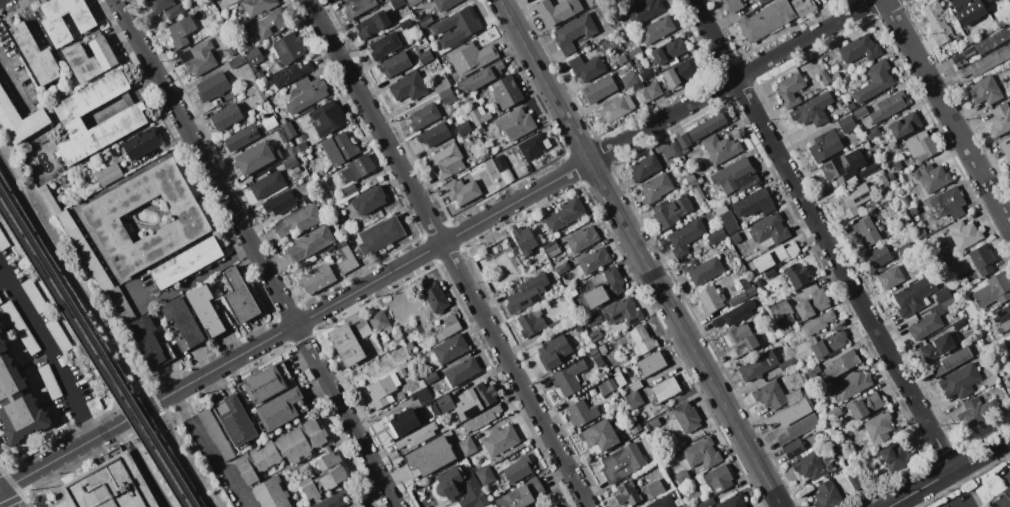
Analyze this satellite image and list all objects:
road: (0, 0)
building: (757, 0)
building: (986, 0)
building: (412, 2)
building: (763, 2)
building: (397, 3)
building: (159, 4)
building: (443, 4)
building: (735, 4)
building: (258, 5)
building: (804, 6)
building: (358, 7)
building: (968, 9)
building: (644, 10)
building: (174, 11)
building: (558, 11)
building: (766, 20)
building: (425, 21)
building: (935, 22)
building: (270, 23)
building: (372, 24)
building: (405, 24)
building: (56, 28)
building: (469, 29)
building: (657, 29)
building: (181, 31)
building: (574, 33)
building: (971, 37)
building: (992, 40)
building: (385, 45)
building: (421, 47)
building: (288, 48)
building: (860, 49)
building: (231, 50)
building: (669, 50)
building: (635, 52)
building: (438, 53)
building: (35, 55)
building: (254, 56)
building: (425, 56)
building: (471, 57)
building: (89, 59)
building: (198, 59)
building: (622, 59)
building: (611, 60)
building: (237, 61)
building: (987, 62)
building: (394, 64)
building: (587, 68)
building: (688, 68)
building: (253, 69)
building: (271, 70)
building: (291, 73)
building: (648, 74)
building: (260, 75)
building: (836, 75)
building: (482, 76)
building: (825, 77)
building: (670, 78)
building: (629, 79)
road: (12, 81)
building: (875, 81)
building: (440, 82)
building: (213, 86)
building: (408, 86)
building: (600, 89)
building: (790, 89)
building: (654, 90)
building: (984, 90)
building: (257, 92)
building: (506, 92)
building: (308, 93)
building: (447, 96)
building: (839, 100)
building: (850, 105)
building: (889, 106)
building: (615, 109)
building: (861, 111)
road: (947, 111)
building: (809, 113)
building: (479, 115)
building: (423, 116)
building: (227, 117)
building: (329, 117)
building: (20, 119)
building: (126, 119)
building: (1000, 119)
building: (270, 123)
building: (514, 124)
building: (847, 124)
building: (905, 125)
building: (706, 126)
building: (463, 127)
building: (481, 129)
building: (286, 130)
building: (872, 133)
building: (434, 134)
building: (241, 137)
building: (684, 140)
building: (141, 143)
building: (301, 145)
building: (921, 145)
building: (534, 146)
building: (825, 146)
building: (1006, 147)
building: (720, 148)
building: (876, 148)
building: (339, 149)
building: (671, 151)
building: (494, 155)
building: (485, 156)
building: (275, 157)
building: (255, 160)
building: (290, 162)
building: (446, 162)
building: (500, 162)
building: (360, 166)
building: (645, 167)
building: (844, 168)
building: (870, 169)
building: (296, 170)
building: (109, 174)
building: (319, 174)
building: (507, 176)
building: (735, 176)
building: (932, 177)
building: (690, 179)
building: (700, 180)
building: (885, 180)
building: (85, 185)
building: (268, 185)
building: (656, 187)
building: (349, 189)
building: (462, 191)
building: (697, 192)
building: (901, 192)
road: (100, 193)
building: (49, 198)
building: (309, 198)
building: (368, 199)
building: (906, 199)
building: (854, 200)
building: (280, 202)
building: (754, 203)
building: (948, 203)
building: (871, 205)
building: (670, 211)
building: (914, 213)
building: (565, 214)
building: (103, 218)
building: (728, 221)
building: (298, 222)
building: (905, 224)
building: (880, 227)
building: (770, 229)
building: (922, 230)
building: (866, 231)
building: (380, 234)
building: (964, 234)
building: (716, 235)
road: (823, 235)
building: (685, 236)
building: (582, 238)
building: (734, 238)
building: (525, 239)
building: (312, 242)
building: (4, 243)
road: (438, 246)
building: (551, 248)
building: (905, 249)
building: (84, 250)
road: (256, 253)
road: (448, 253)
road: (640, 253)
building: (775, 256)
building: (879, 256)
building: (476, 257)
building: (349, 259)
building: (981, 259)
building: (595, 260)
building: (187, 262)
building: (558, 270)
building: (703, 270)
building: (769, 273)
building: (797, 275)
building: (891, 278)
building: (758, 279)
road: (4, 280)
building: (318, 280)
road: (185, 284)
building: (759, 286)
building: (605, 288)
park: (66, 290)
building: (993, 290)
building: (573, 292)
building: (527, 293)
building: (943, 294)
building: (33, 295)
building: (914, 295)
building: (240, 296)
building: (434, 296)
building: (743, 296)
building: (710, 299)
building: (0, 301)
building: (813, 304)
building: (121, 305)
building: (781, 310)
building: (207, 311)
building: (621, 312)
building: (734, 314)
building: (1004, 316)
building: (592, 319)
building: (379, 320)
building: (183, 321)
building: (929, 321)
building: (531, 322)
building: (817, 322)
building: (960, 323)
building: (838, 324)
building: (20, 327)
building: (449, 327)
building: (579, 328)
building: (362, 329)
building: (785, 329)
road: (108, 330)
building: (58, 335)
building: (383, 335)
building: (643, 339)
building: (740, 340)
building: (1009, 340)
building: (150, 342)
building: (396, 342)
building: (180, 343)
building: (829, 344)
building: (346, 345)
building: (409, 346)
building: (937, 346)
building: (450, 348)
road: (51, 349)
building: (603, 349)
railway: (96, 350)
building: (554, 351)
building: (594, 353)
railway: (91, 358)
building: (953, 360)
building: (651, 363)
building: (842, 363)
building: (789, 364)
building: (757, 366)
building: (284, 370)
building: (813, 370)
building: (463, 371)
building: (431, 377)
building: (568, 377)
building: (619, 379)
building: (992, 380)
building: (50, 381)
building: (959, 381)
building: (264, 384)
building: (852, 384)
building: (609, 385)
building: (635, 386)
building: (666, 389)
building: (382, 391)
building: (424, 395)
building: (774, 395)
building: (475, 399)
building: (634, 399)
building: (444, 400)
building: (18, 401)
building: (865, 406)
building: (279, 409)
building: (434, 409)
building: (834, 412)
building: (582, 413)
building: (977, 413)
building: (790, 414)
building: (687, 417)
building: (481, 420)
building: (237, 421)
building: (404, 422)
building: (654, 422)
building: (634, 426)
building: (646, 427)
building: (878, 427)
building: (799, 428)
building: (830, 430)
building: (215, 434)
building: (600, 435)
building: (418, 436)
building: (501, 440)
road: (1008, 443)
building: (468, 446)
building: (794, 448)
road: (209, 449)
building: (702, 452)
building: (431, 456)
building: (897, 457)
building: (296, 458)
building: (623, 462)
road: (142, 465)
park: (179, 466)
building: (809, 466)
building: (519, 469)
road: (950, 472)
building: (485, 475)
building: (719, 478)
building: (855, 481)
building: (110, 483)
road: (1, 487)
building: (655, 487)
building: (460, 488)
building: (271, 493)
building: (627, 493)
building: (827, 494)
building: (522, 495)
road: (8, 498)
building: (339, 498)
building: (1004, 498)
building: (733, 501)
building: (663, 502)
building: (707, 503)
building: (360, 505)
building: (554, 505)
road: (968, 505)
building: (1009, 506)

